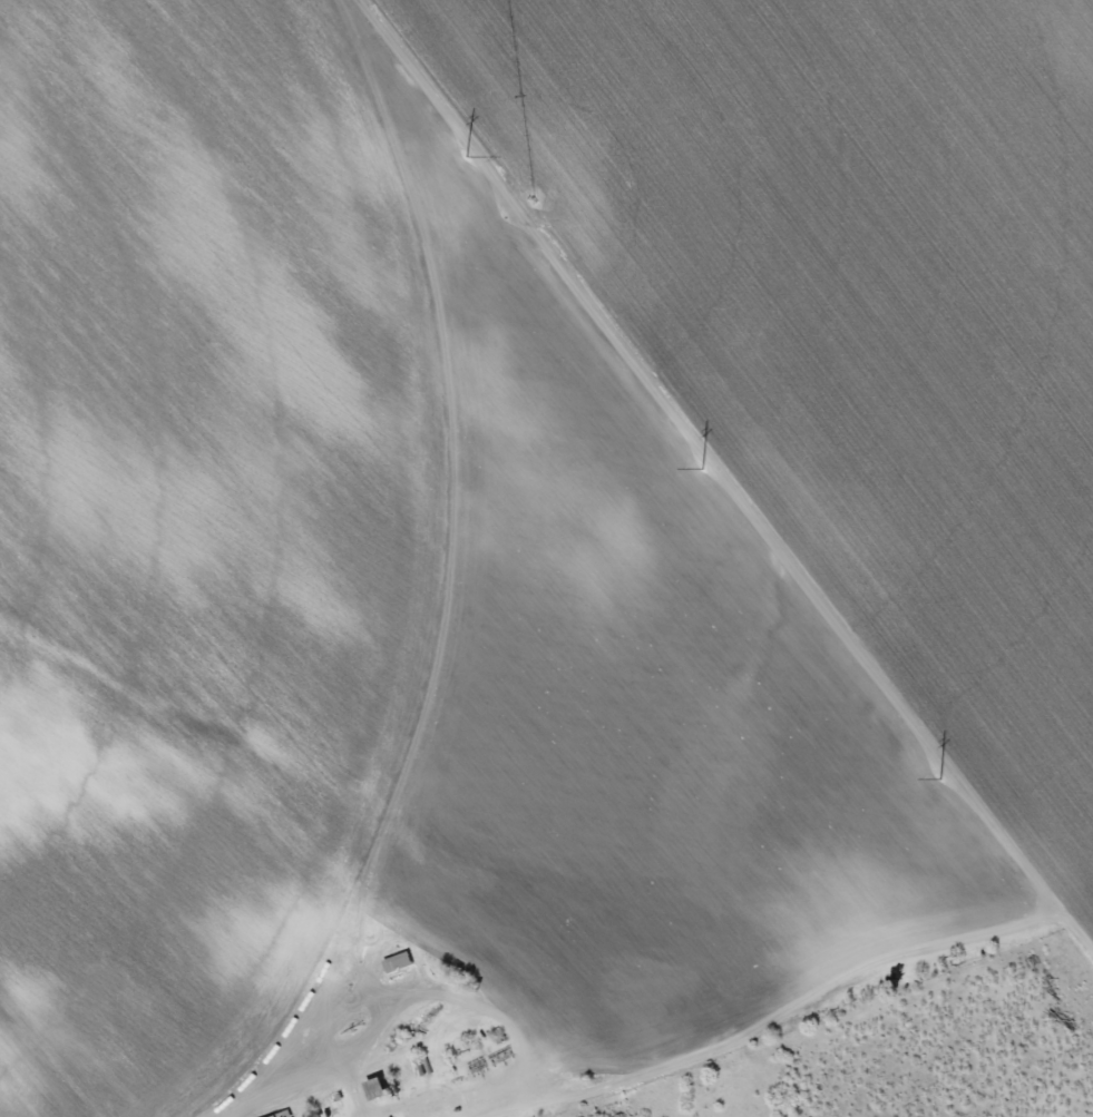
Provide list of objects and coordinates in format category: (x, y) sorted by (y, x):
power tower: (458, 149)
power tower: (696, 460)
power tower: (933, 770)
building: (398, 963)
building: (375, 1089)
building: (283, 1115)

